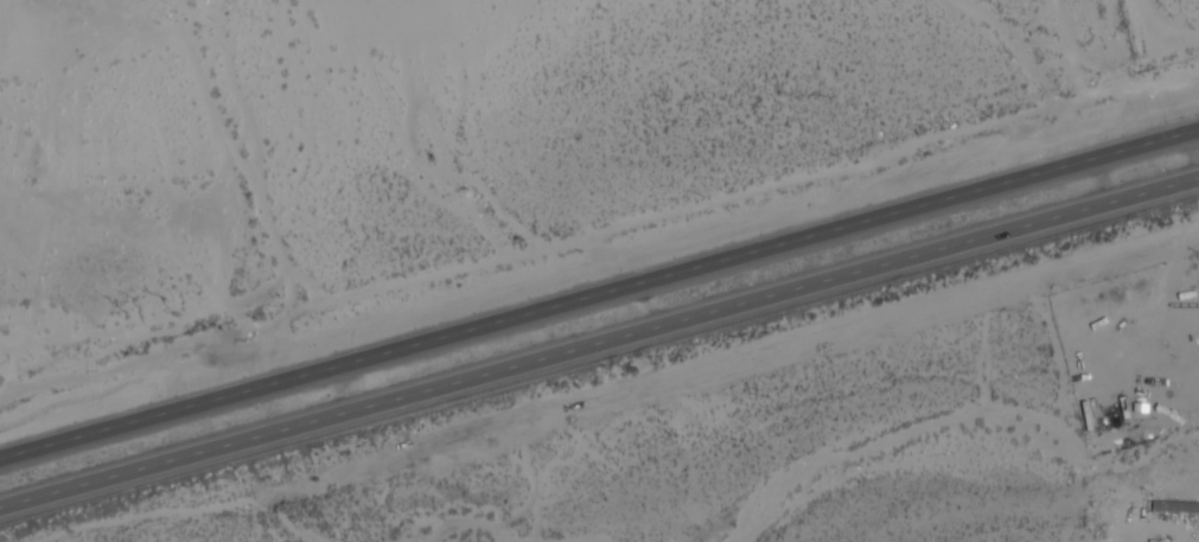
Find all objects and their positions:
road: (599, 294)
road: (599, 344)

